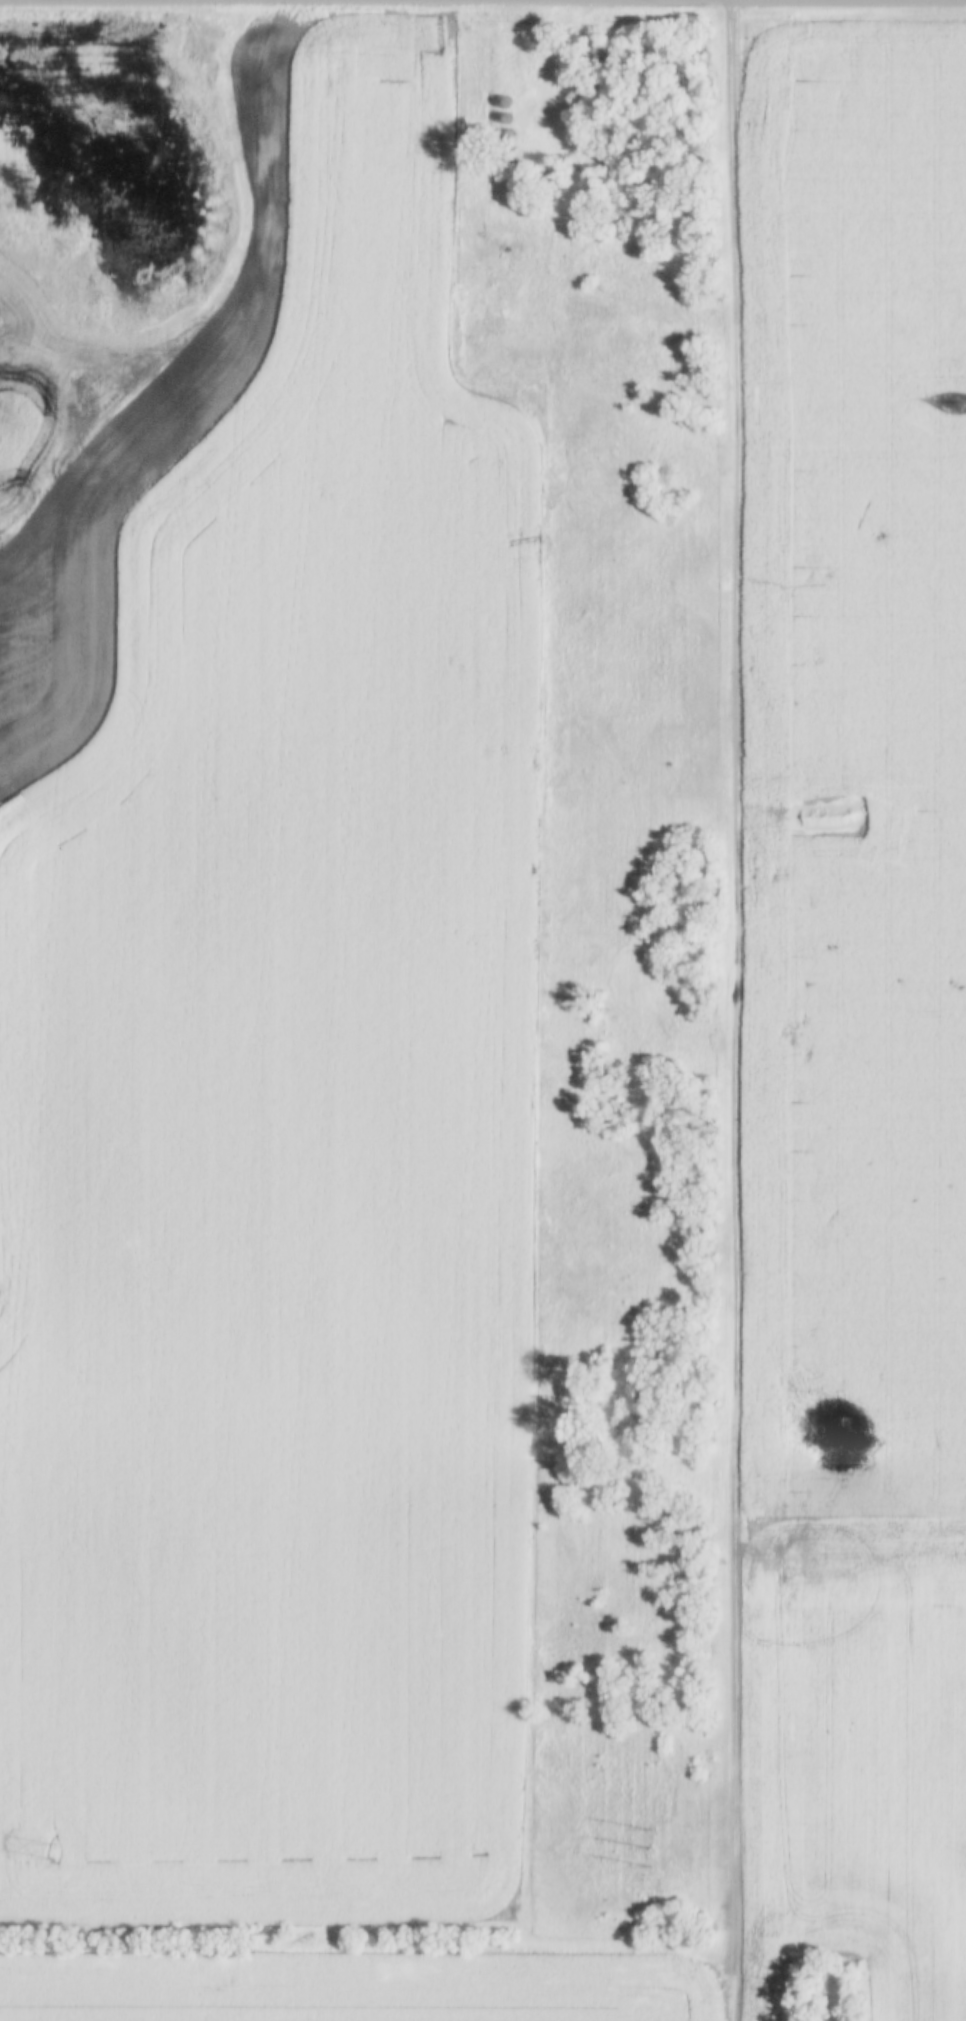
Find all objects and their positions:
road: (728, 0)
road: (787, 1)
building: (501, 103)
silo: (501, 103)
building: (505, 120)
silo: (505, 120)
building: (509, 136)
silo: (509, 136)
crop: (259, 993)
crop: (854, 1005)
road: (739, 1010)
power tower: (51, 1850)
power tower: (649, 1850)
crop: (361, 1982)

